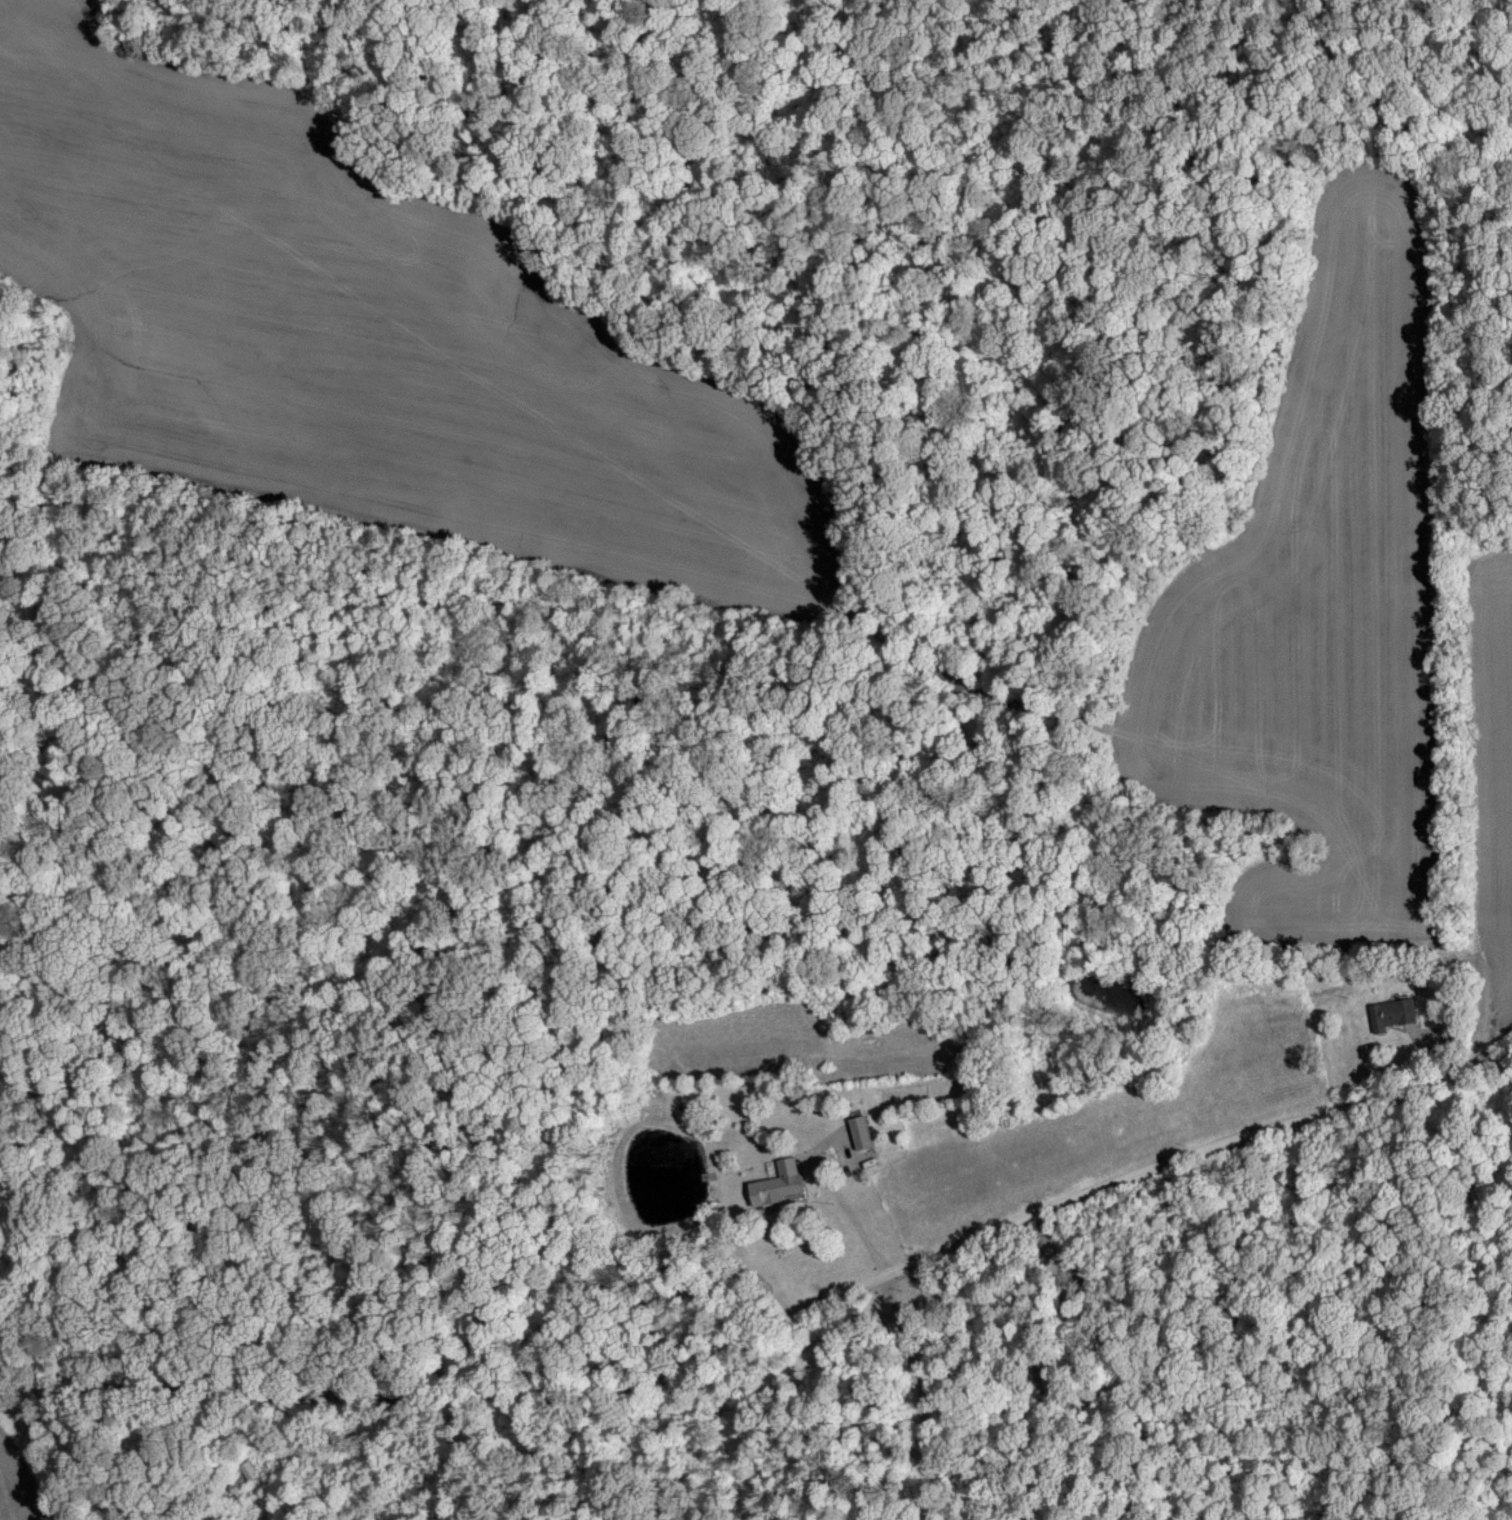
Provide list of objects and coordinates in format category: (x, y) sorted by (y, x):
building: (856, 1130)
building: (774, 1182)
road: (775, 1343)
road: (35, 1456)

